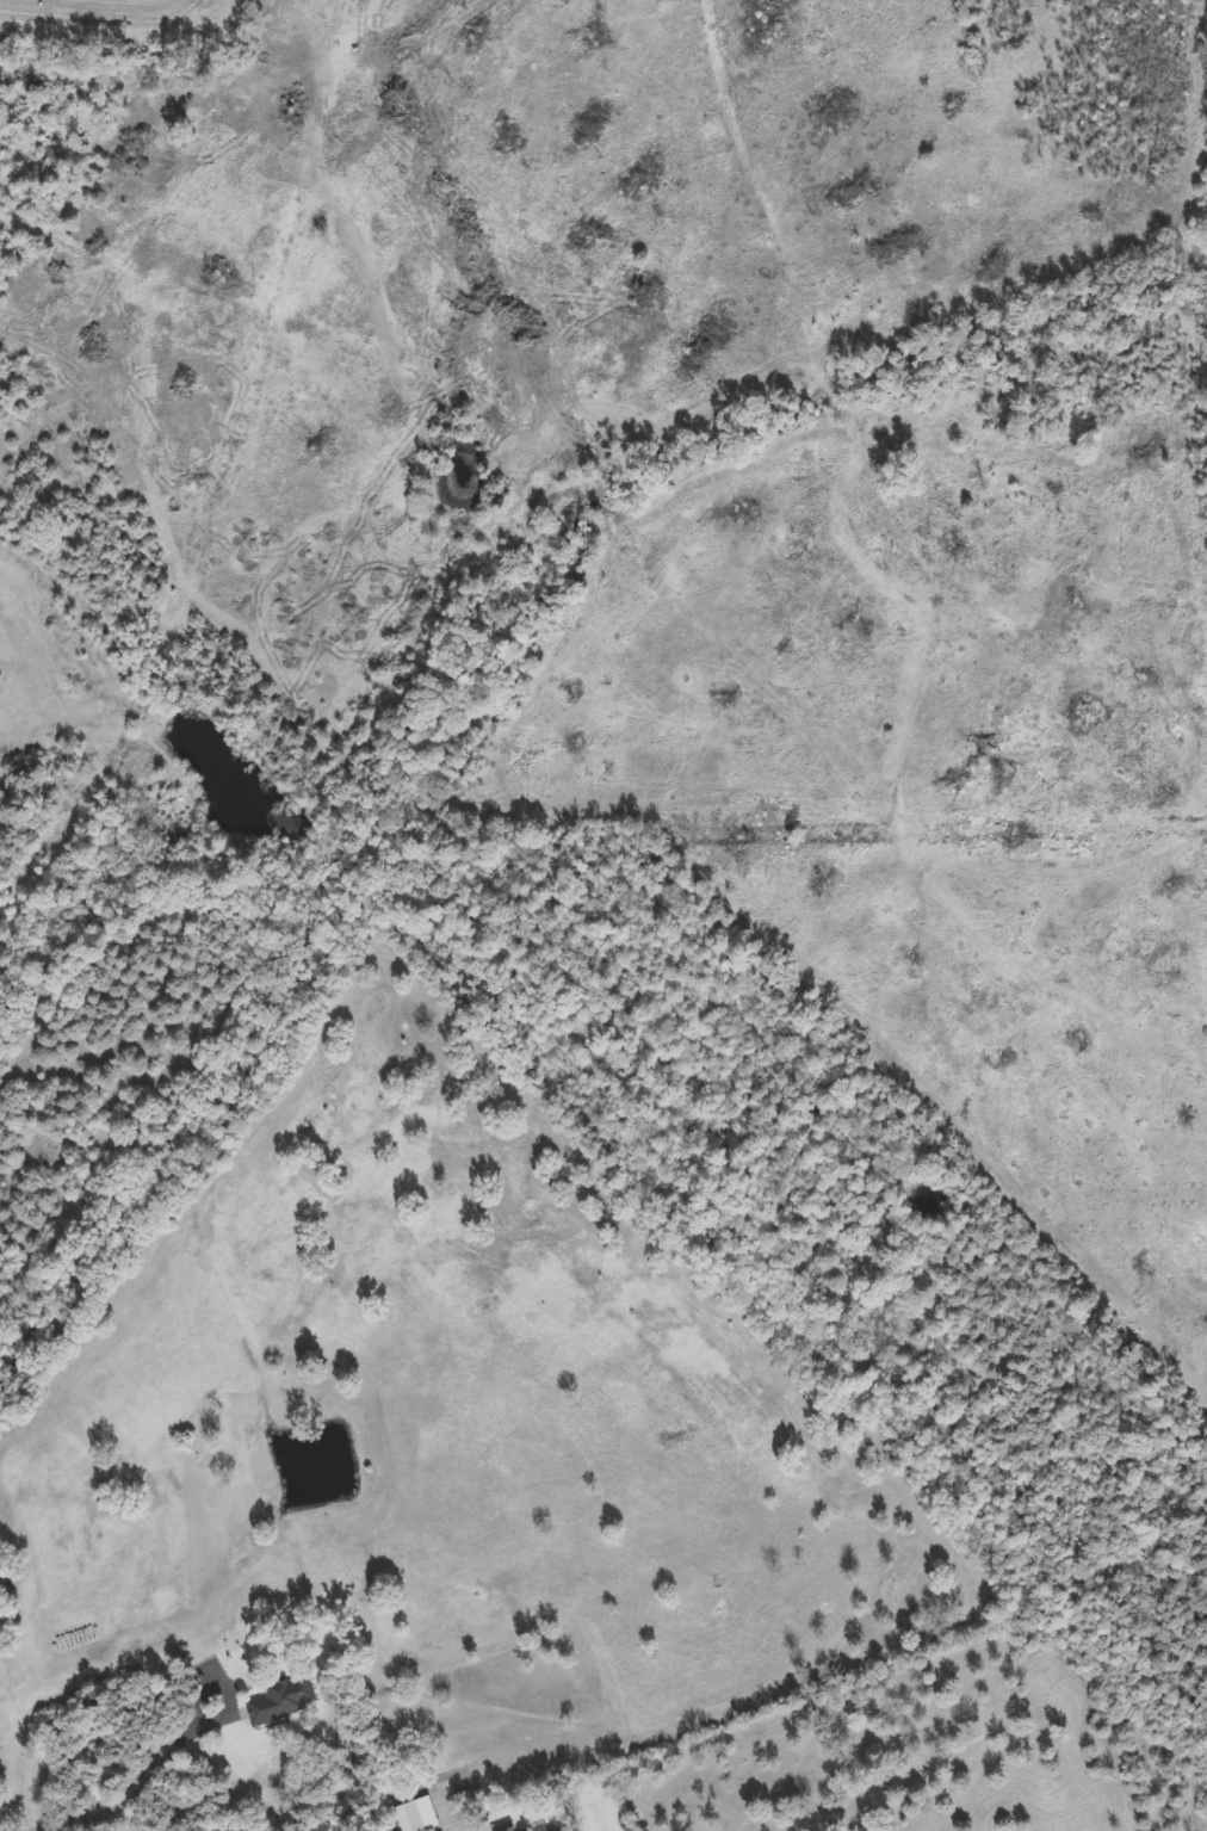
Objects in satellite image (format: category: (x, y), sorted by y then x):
building: (286, 1700)
road: (148, 1776)
building: (416, 1817)
building: (516, 1830)
building: (558, 1830)

